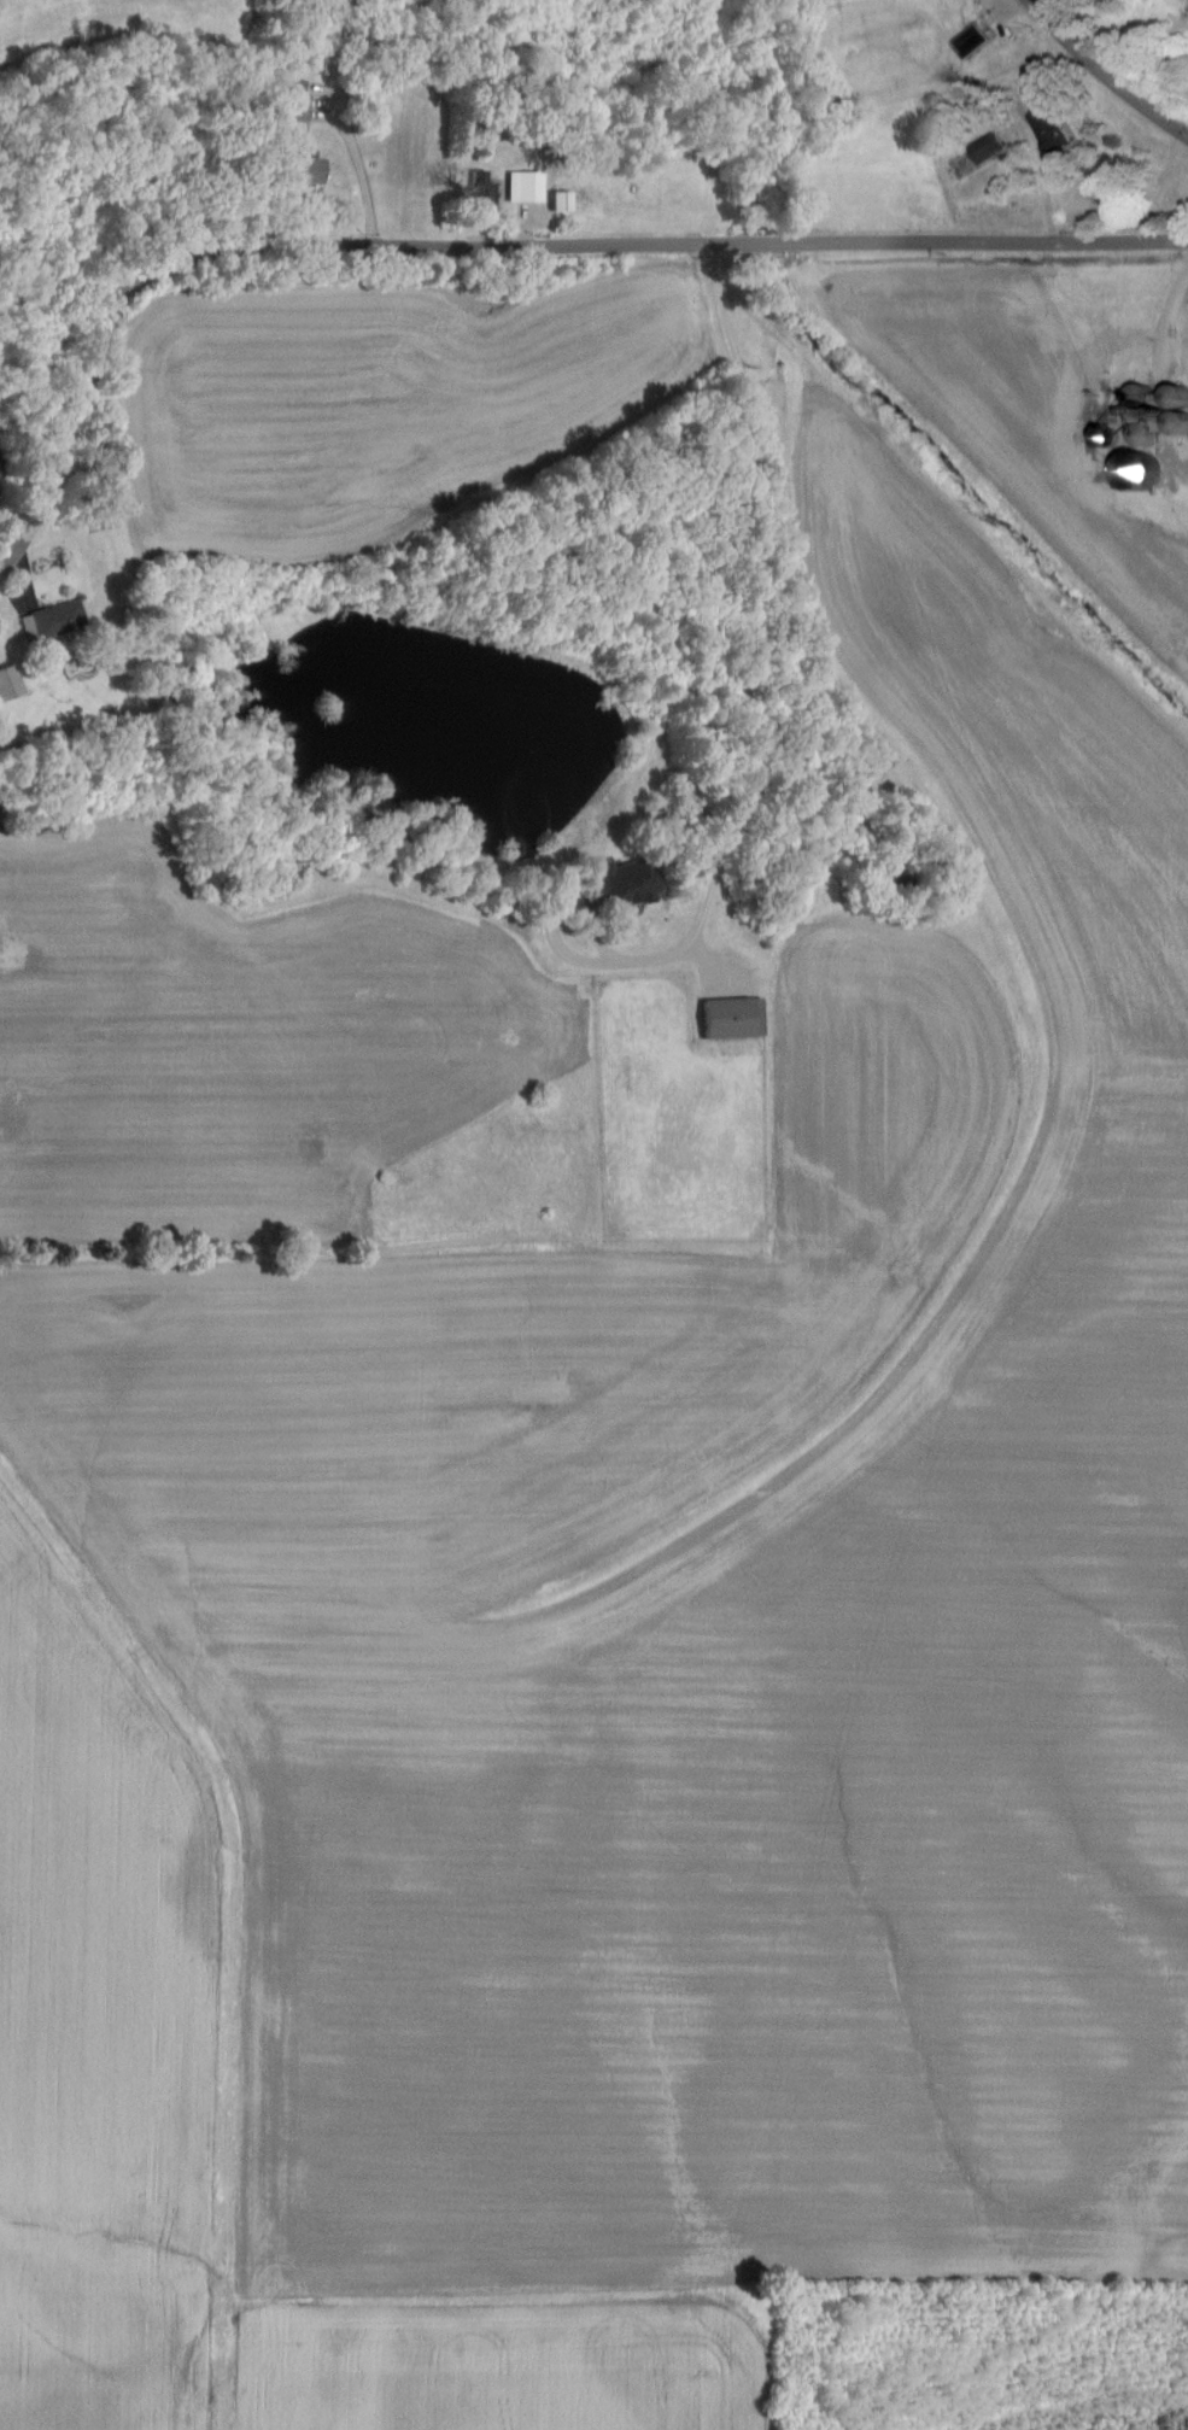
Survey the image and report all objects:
building: (978, 42)
road: (1104, 74)
building: (300, 100)
building: (1058, 135)
building: (993, 147)
road: (361, 165)
building: (310, 169)
building: (528, 187)
building: (564, 201)
road: (493, 247)
road: (749, 538)
building: (55, 621)
building: (11, 684)
building: (628, 883)
road: (620, 961)
building: (736, 1018)

